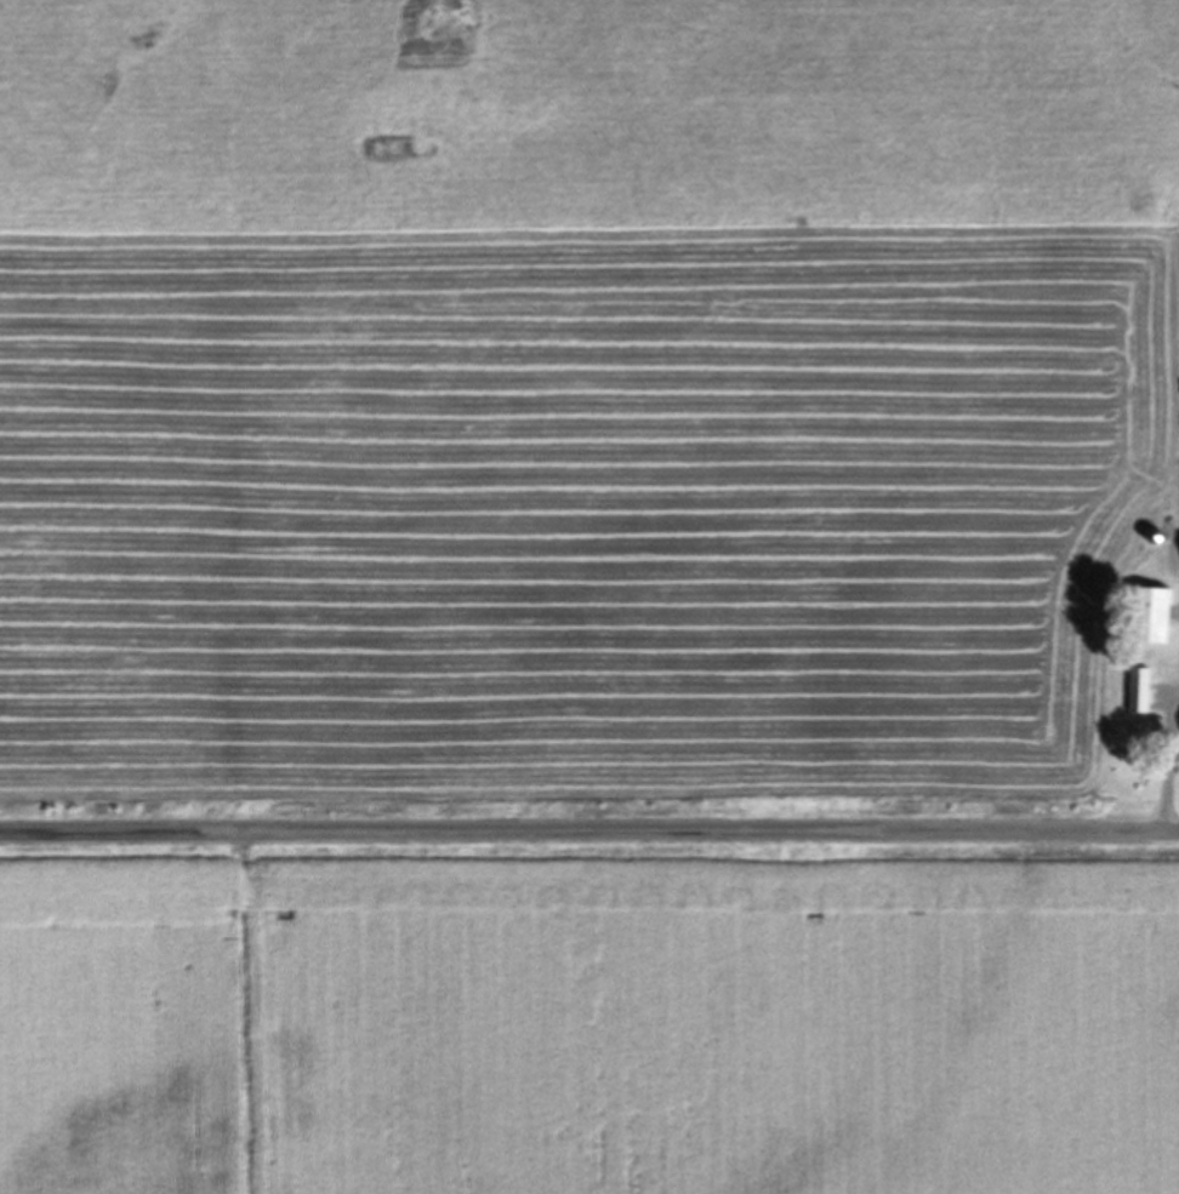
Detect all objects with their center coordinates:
building: (1143, 621)
building: (1133, 693)
road: (1167, 770)
road: (588, 832)

